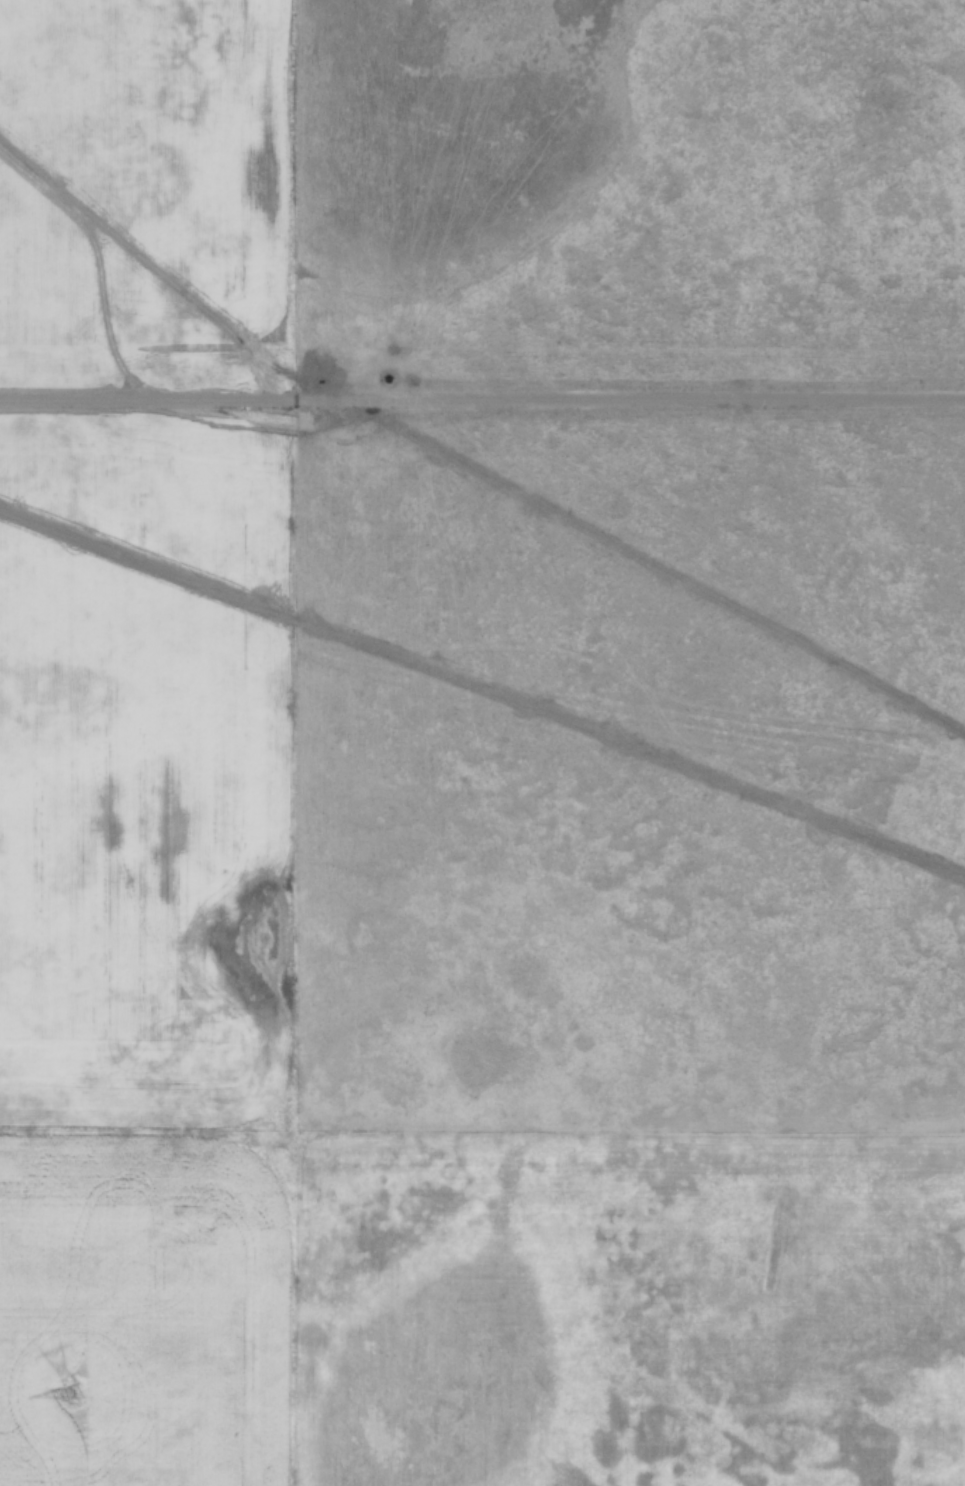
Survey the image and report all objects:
power tower: (73, 1394)

